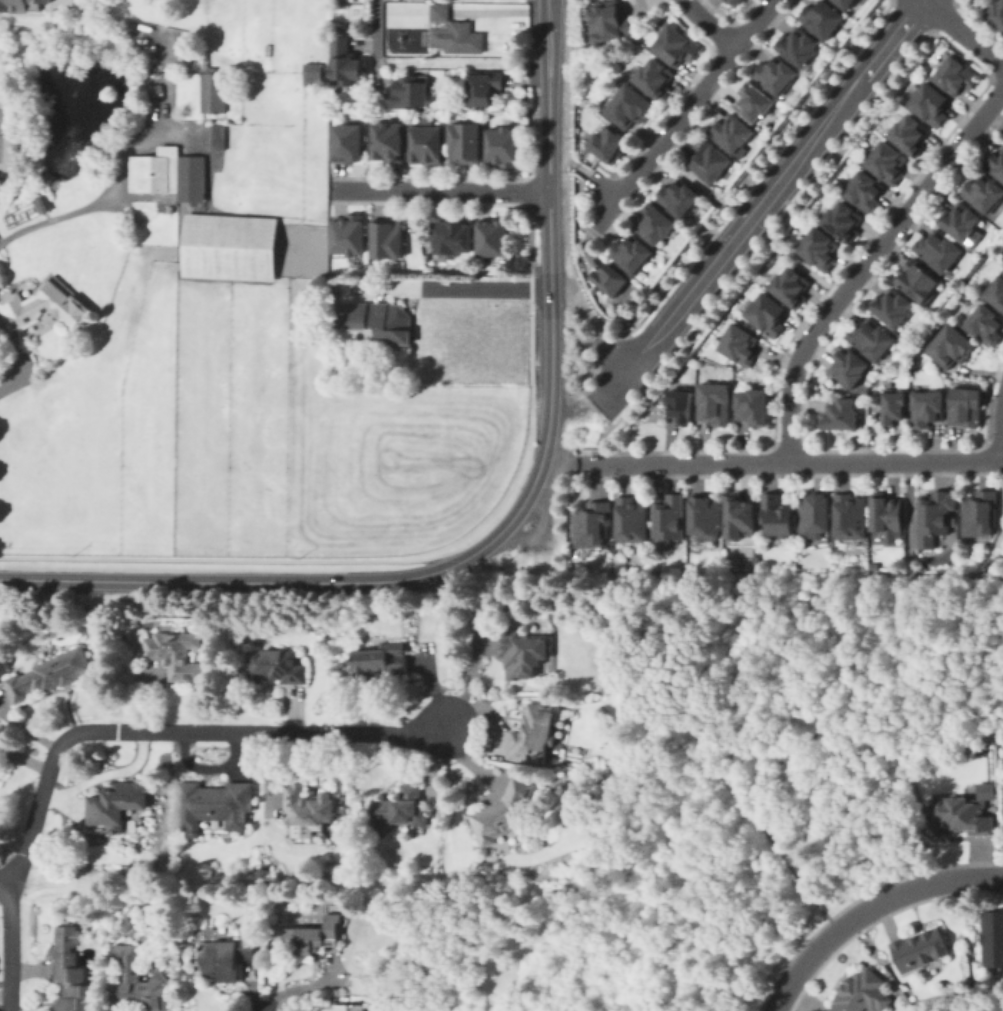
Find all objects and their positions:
building: (736, 1)
building: (849, 2)
building: (21, 4)
building: (441, 10)
building: (997, 11)
building: (823, 15)
building: (607, 19)
road: (708, 23)
road: (374, 25)
road: (962, 30)
building: (461, 39)
building: (678, 43)
building: (800, 43)
building: (346, 61)
building: (777, 72)
building: (314, 74)
building: (958, 74)
building: (655, 75)
building: (484, 90)
building: (412, 91)
building: (214, 92)
road: (547, 94)
building: (754, 100)
building: (932, 102)
building: (629, 104)
road: (682, 113)
park: (0, 117)
building: (732, 131)
building: (911, 131)
building: (218, 138)
building: (390, 141)
building: (349, 143)
building: (427, 143)
building: (465, 143)
building: (609, 144)
building: (504, 147)
building: (712, 158)
building: (888, 161)
building: (996, 161)
road: (572, 162)
building: (160, 171)
building: (188, 177)
road: (605, 186)
road: (440, 189)
building: (865, 190)
building: (983, 191)
road: (104, 195)
building: (681, 196)
road: (761, 203)
building: (41, 204)
building: (844, 218)
building: (960, 218)
road: (749, 221)
road: (548, 224)
building: (656, 225)
building: (352, 232)
building: (454, 237)
building: (495, 237)
building: (387, 238)
building: (230, 247)
building: (821, 247)
building: (938, 249)
building: (633, 255)
road: (867, 263)
building: (612, 280)
building: (917, 280)
building: (791, 285)
road: (464, 286)
building: (997, 291)
building: (893, 305)
building: (49, 309)
building: (351, 313)
building: (768, 314)
road: (549, 318)
building: (390, 322)
building: (985, 323)
building: (428, 333)
building: (506, 334)
building: (472, 335)
building: (871, 337)
building: (739, 344)
building: (949, 345)
road: (608, 356)
building: (848, 365)
building: (682, 402)
building: (713, 404)
building: (964, 404)
building: (894, 406)
building: (752, 407)
building: (925, 408)
building: (837, 412)
road: (607, 431)
road: (1002, 447)
road: (557, 461)
road: (788, 461)
building: (888, 512)
building: (852, 513)
building: (982, 514)
building: (937, 515)
building: (777, 516)
building: (814, 517)
building: (707, 518)
building: (741, 518)
building: (670, 519)
building: (633, 520)
building: (592, 525)
road: (338, 583)
building: (522, 652)
building: (177, 655)
building: (381, 659)
building: (275, 666)
building: (51, 674)
road: (173, 729)
building: (533, 732)
road: (723, 770)
building: (116, 803)
building: (216, 803)
building: (308, 808)
building: (396, 808)
building: (507, 813)
building: (1002, 817)
building: (961, 818)
road: (5, 885)
road: (868, 910)
building: (316, 934)
building: (992, 939)
road: (10, 949)
building: (920, 949)
building: (223, 958)
building: (162, 972)
building: (72, 973)
road: (307, 987)
building: (863, 993)
building: (350, 1008)

